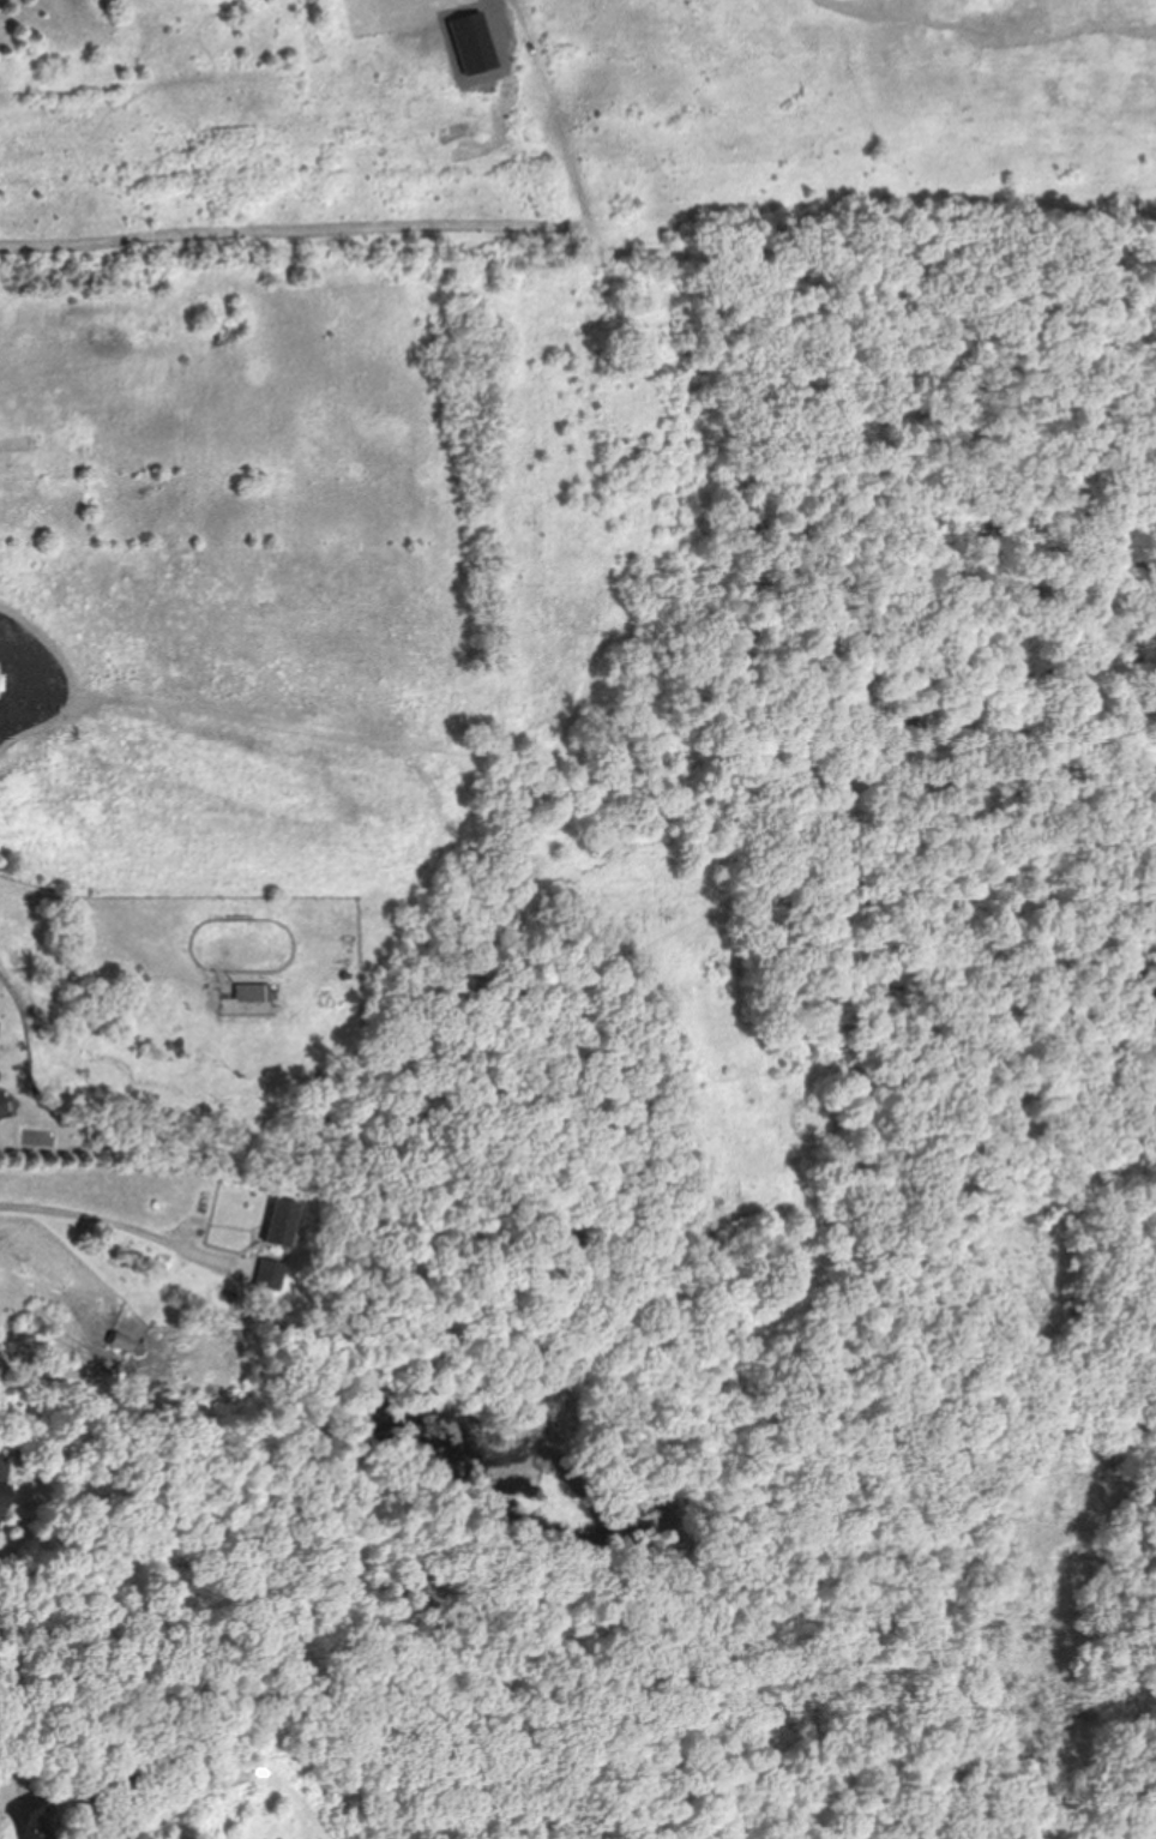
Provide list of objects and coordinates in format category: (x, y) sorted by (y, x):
park: (612, 852)
building: (253, 991)
building: (2, 1104)
road: (85, 1216)
building: (281, 1221)
road: (200, 1227)
building: (269, 1273)
building: (6, 1488)
building: (24, 1821)

